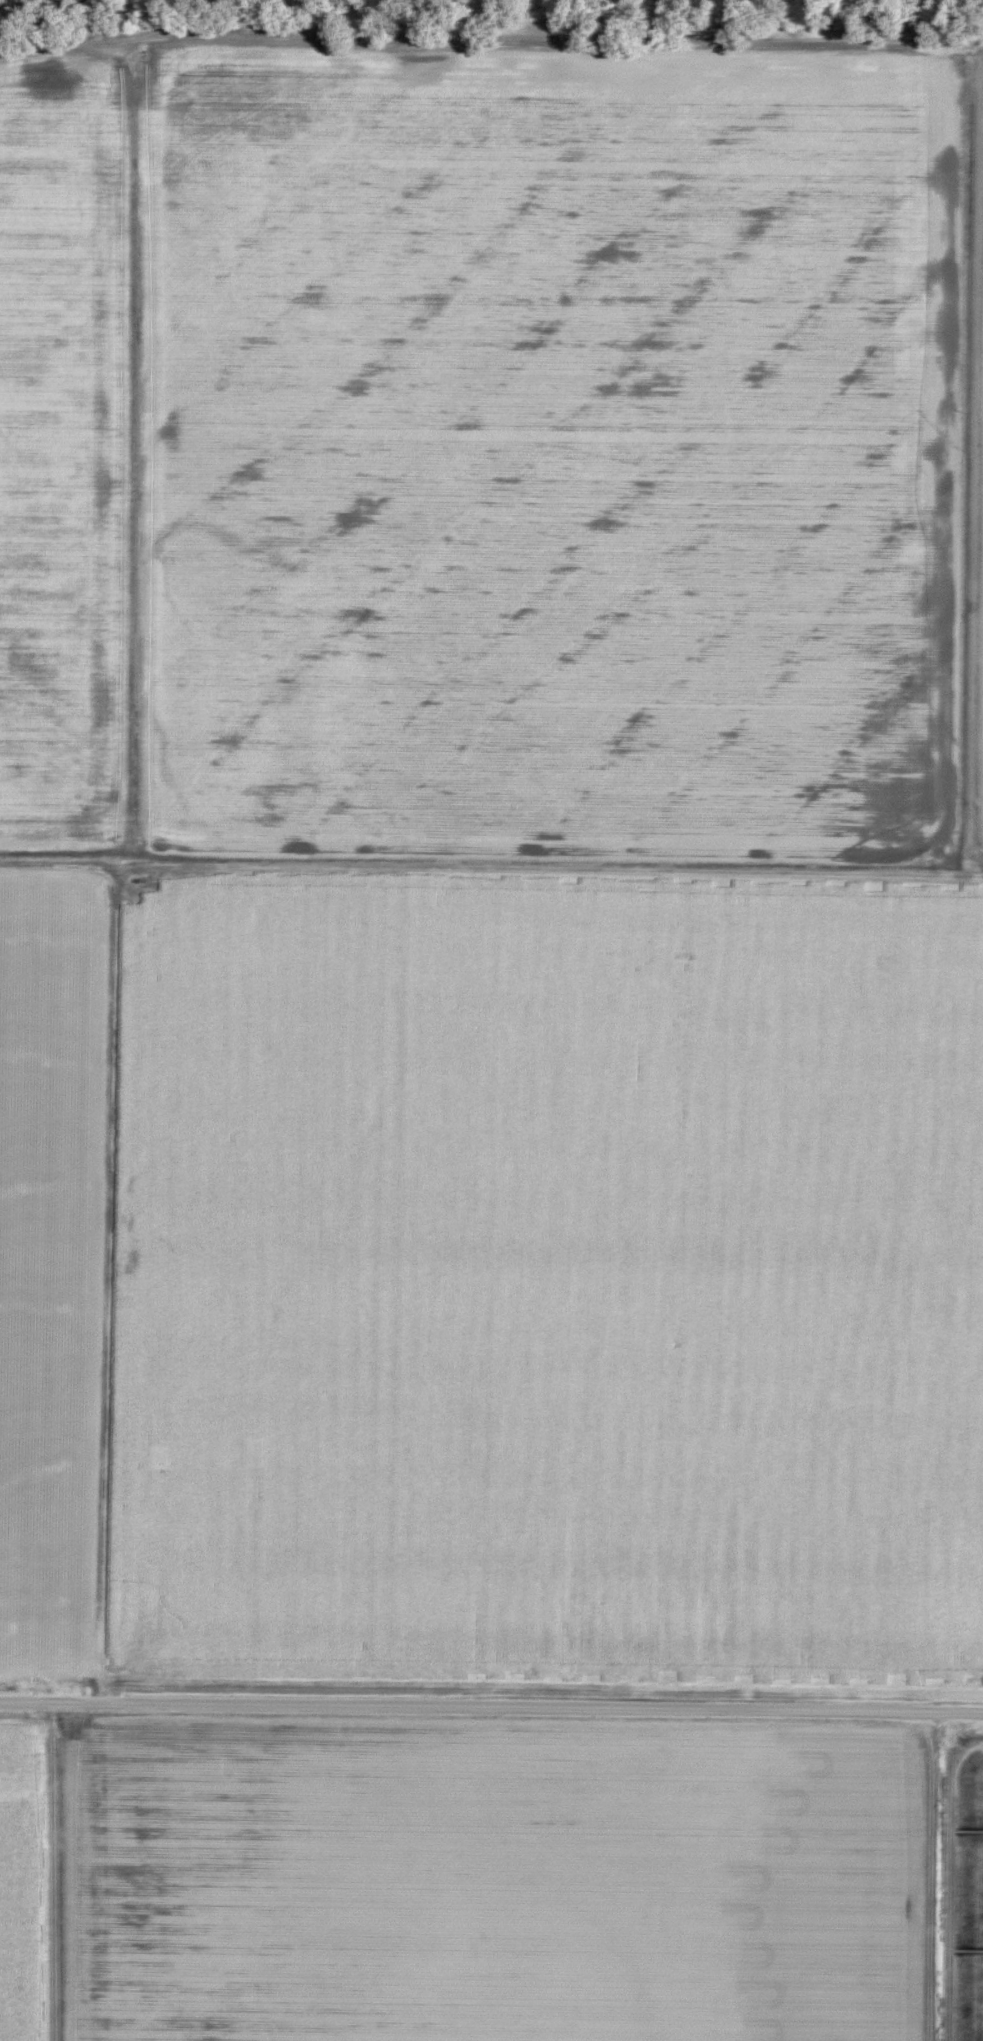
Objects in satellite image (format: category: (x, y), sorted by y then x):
road: (491, 44)
road: (137, 452)
road: (969, 831)
road: (879, 868)
road: (491, 1710)
road: (56, 1874)

